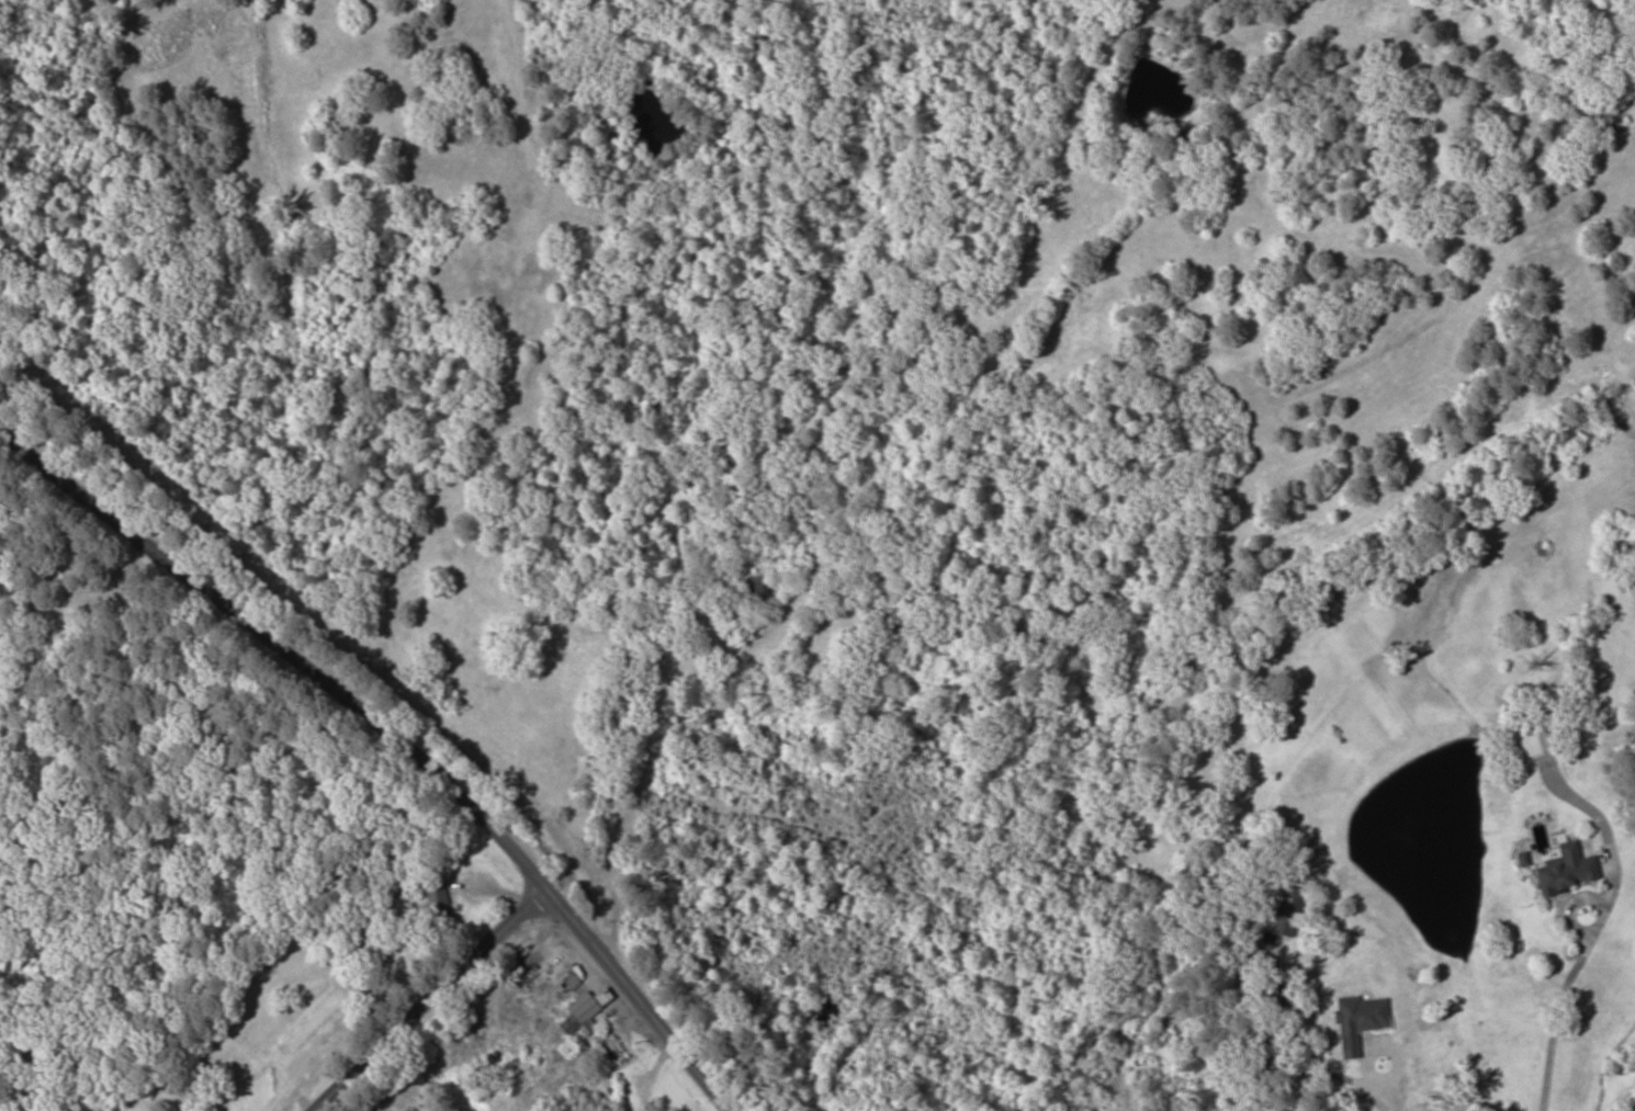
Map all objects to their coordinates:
building: (759, 590)
road: (403, 725)
building: (1532, 741)
building: (1564, 870)
building: (433, 902)
building: (1285, 910)
road: (420, 986)
building: (579, 1011)
building: (1355, 1020)
road: (1622, 1100)

